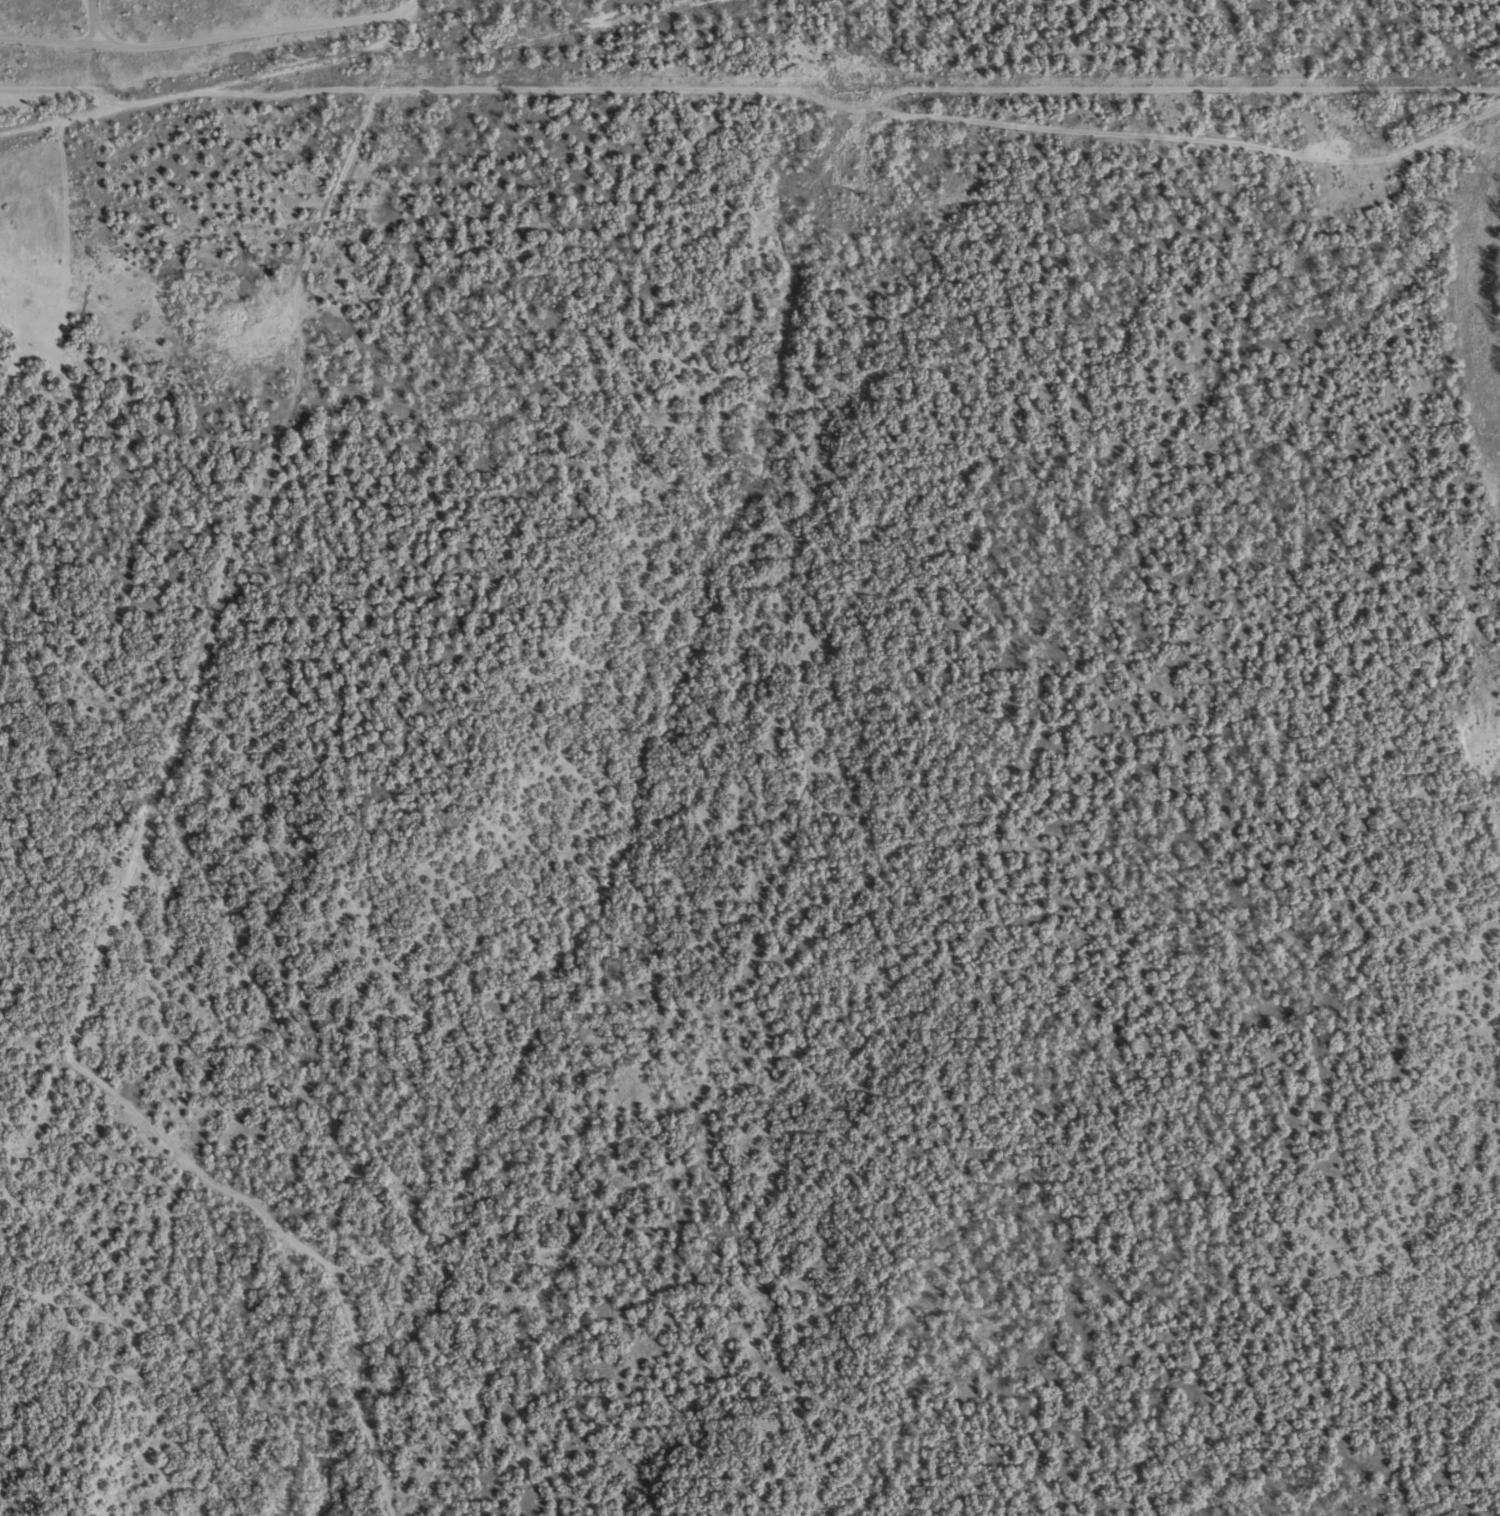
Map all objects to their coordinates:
petroleum well: (858, 188)

